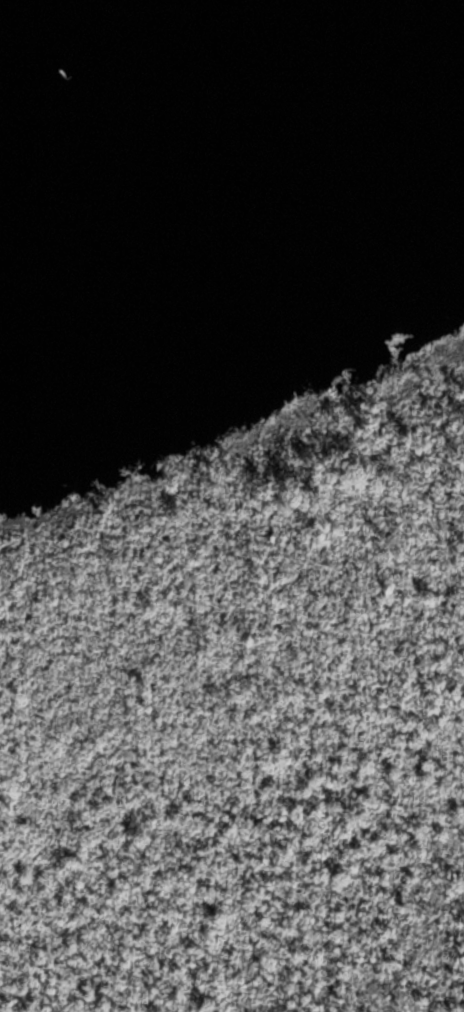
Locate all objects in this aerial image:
river: (152, 69)

